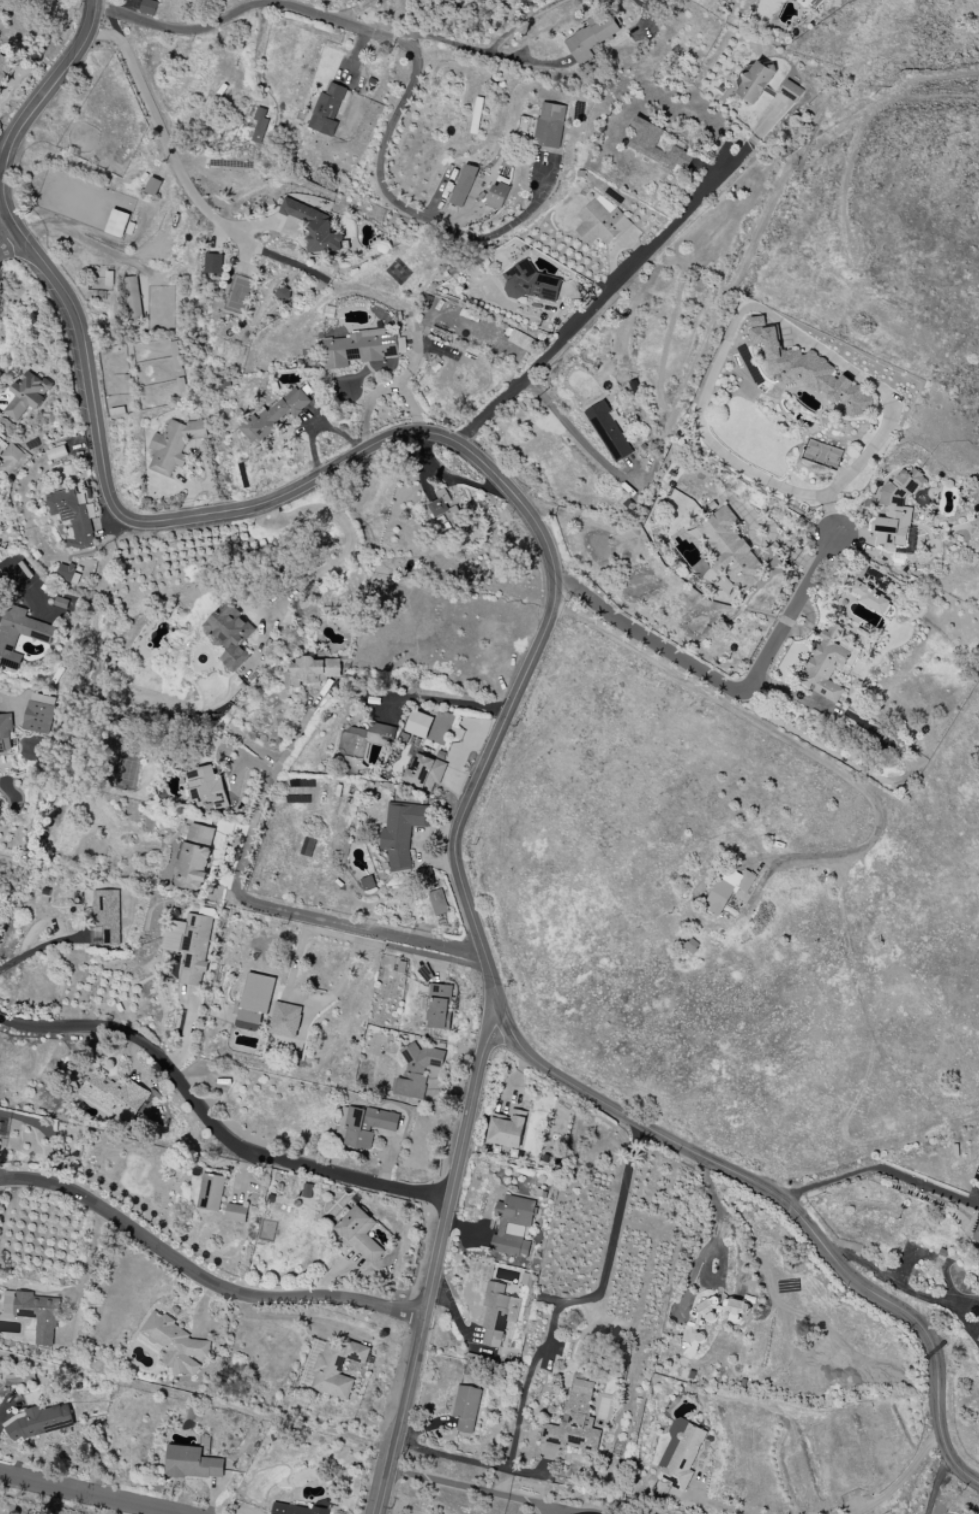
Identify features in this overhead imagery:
building: (814, 3)
building: (148, 7)
road: (245, 7)
road: (644, 16)
road: (521, 24)
building: (591, 37)
road: (477, 48)
building: (4, 66)
road: (958, 75)
building: (755, 82)
building: (790, 90)
building: (326, 110)
building: (259, 126)
building: (549, 126)
building: (655, 145)
road: (170, 151)
road: (2, 162)
road: (380, 175)
building: (463, 185)
building: (152, 186)
building: (496, 196)
building: (601, 222)
building: (117, 223)
building: (314, 226)
road: (8, 236)
road: (85, 239)
building: (213, 265)
building: (529, 283)
building: (133, 298)
road: (586, 313)
building: (521, 340)
building: (357, 348)
building: (807, 370)
building: (27, 395)
building: (274, 416)
road: (576, 432)
building: (608, 432)
building: (174, 445)
building: (10, 458)
building: (445, 508)
building: (897, 513)
building: (72, 517)
building: (729, 549)
road: (328, 567)
building: (67, 573)
road: (28, 577)
building: (870, 598)
road: (551, 612)
building: (20, 634)
building: (229, 634)
building: (825, 665)
building: (312, 671)
road: (728, 689)
road: (444, 700)
building: (41, 714)
building: (419, 724)
building: (6, 733)
road: (777, 734)
building: (361, 745)
building: (425, 770)
building: (207, 787)
building: (401, 832)
building: (195, 857)
building: (424, 876)
building: (368, 883)
building: (728, 888)
building: (437, 902)
building: (107, 915)
road: (297, 916)
building: (191, 947)
road: (42, 948)
building: (255, 1001)
building: (438, 1006)
building: (285, 1019)
building: (416, 1069)
building: (115, 1094)
road: (211, 1123)
building: (507, 1130)
road: (880, 1164)
building: (978, 1178)
road: (930, 1183)
building: (211, 1192)
building: (236, 1213)
building: (512, 1226)
building: (359, 1233)
building: (976, 1234)
road: (708, 1254)
road: (926, 1257)
road: (92, 1259)
road: (436, 1262)
road: (201, 1276)
building: (33, 1313)
building: (498, 1314)
building: (710, 1315)
road: (294, 1318)
road: (963, 1319)
road: (547, 1337)
building: (176, 1344)
building: (337, 1368)
building: (466, 1408)
building: (575, 1418)
building: (39, 1422)
building: (680, 1454)
building: (192, 1463)
road: (903, 1479)
road: (937, 1484)
road: (472, 1488)
road: (87, 1494)
road: (720, 1506)
building: (295, 1509)
road: (587, 1512)

